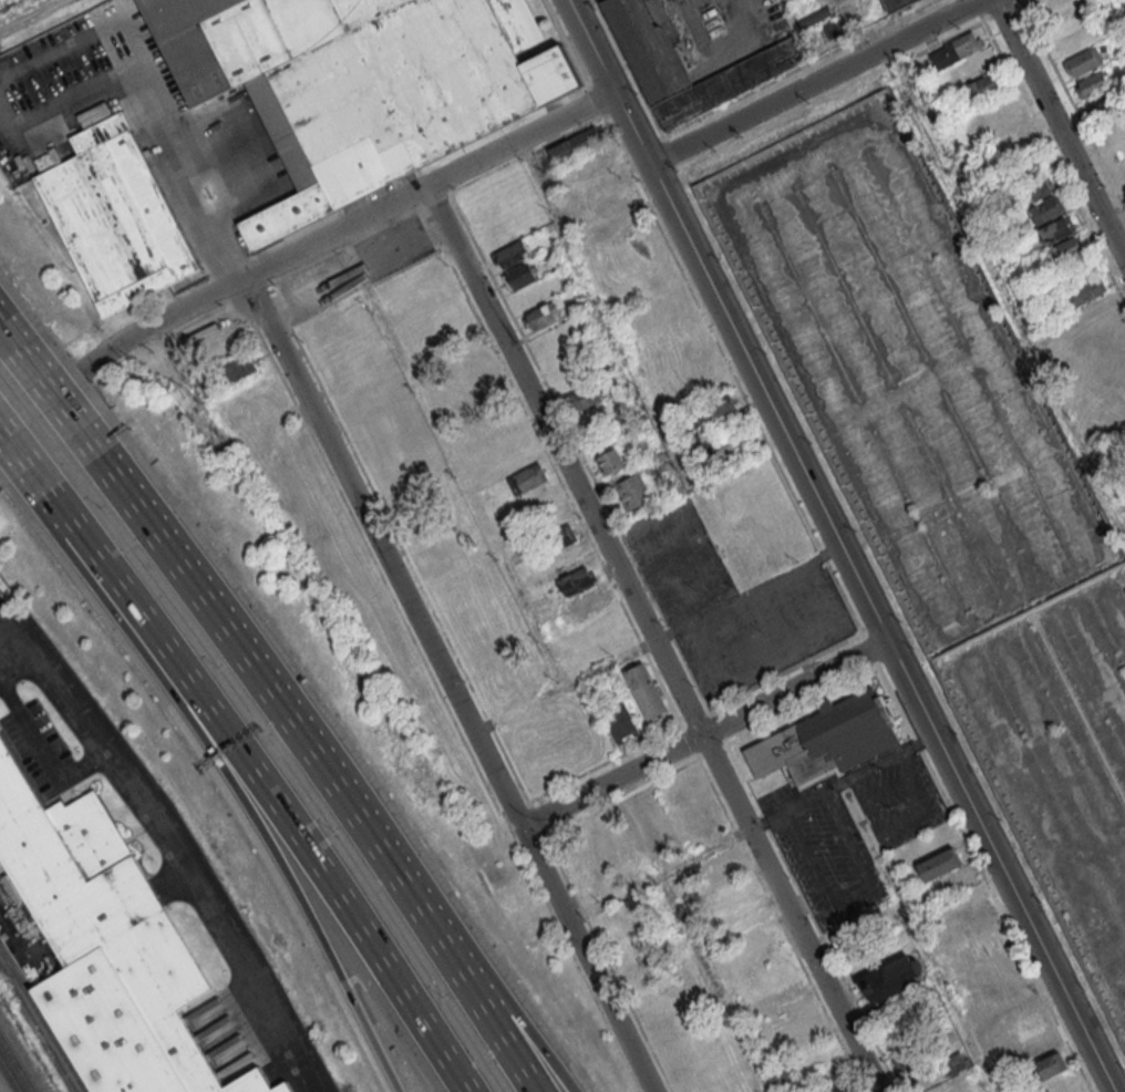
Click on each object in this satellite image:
building: (898, 3)
road: (79, 38)
building: (956, 49)
building: (1083, 62)
building: (679, 63)
road: (813, 81)
building: (360, 83)
building: (1092, 84)
building: (981, 86)
road: (71, 95)
building: (1102, 101)
road: (1059, 132)
building: (574, 145)
building: (592, 162)
building: (1025, 164)
road: (189, 171)
building: (1038, 188)
building: (616, 200)
building: (1047, 209)
building: (117, 218)
building: (1057, 230)
road: (567, 235)
road: (299, 248)
building: (1064, 249)
building: (509, 254)
building: (518, 276)
building: (1086, 290)
building: (665, 301)
building: (539, 316)
building: (239, 367)
building: (203, 383)
road: (48, 391)
building: (585, 395)
building: (721, 405)
building: (705, 447)
road: (24, 454)
road: (453, 457)
building: (610, 461)
building: (526, 477)
building: (631, 492)
road: (64, 507)
road: (654, 517)
building: (560, 536)
road: (838, 546)
building: (576, 579)
road: (744, 591)
building: (586, 600)
road: (650, 638)
road: (774, 649)
road: (13, 660)
road: (250, 667)
road: (452, 681)
road: (565, 687)
building: (644, 690)
building: (619, 722)
road: (705, 733)
park: (553, 739)
building: (827, 739)
road: (43, 748)
road: (840, 784)
road: (886, 787)
road: (247, 804)
road: (281, 804)
road: (922, 804)
building: (638, 814)
building: (664, 834)
road: (173, 844)
building: (721, 864)
building: (939, 864)
road: (852, 894)
building: (745, 910)
building: (977, 933)
building: (109, 950)
building: (894, 977)
road: (495, 979)
road: (465, 987)
railway: (38, 1022)
building: (983, 1022)
building: (1026, 1026)
building: (1036, 1047)
building: (907, 1060)
railway: (17, 1062)
building: (954, 1063)
building: (1052, 1065)
railway: (11, 1072)
building: (837, 1089)

